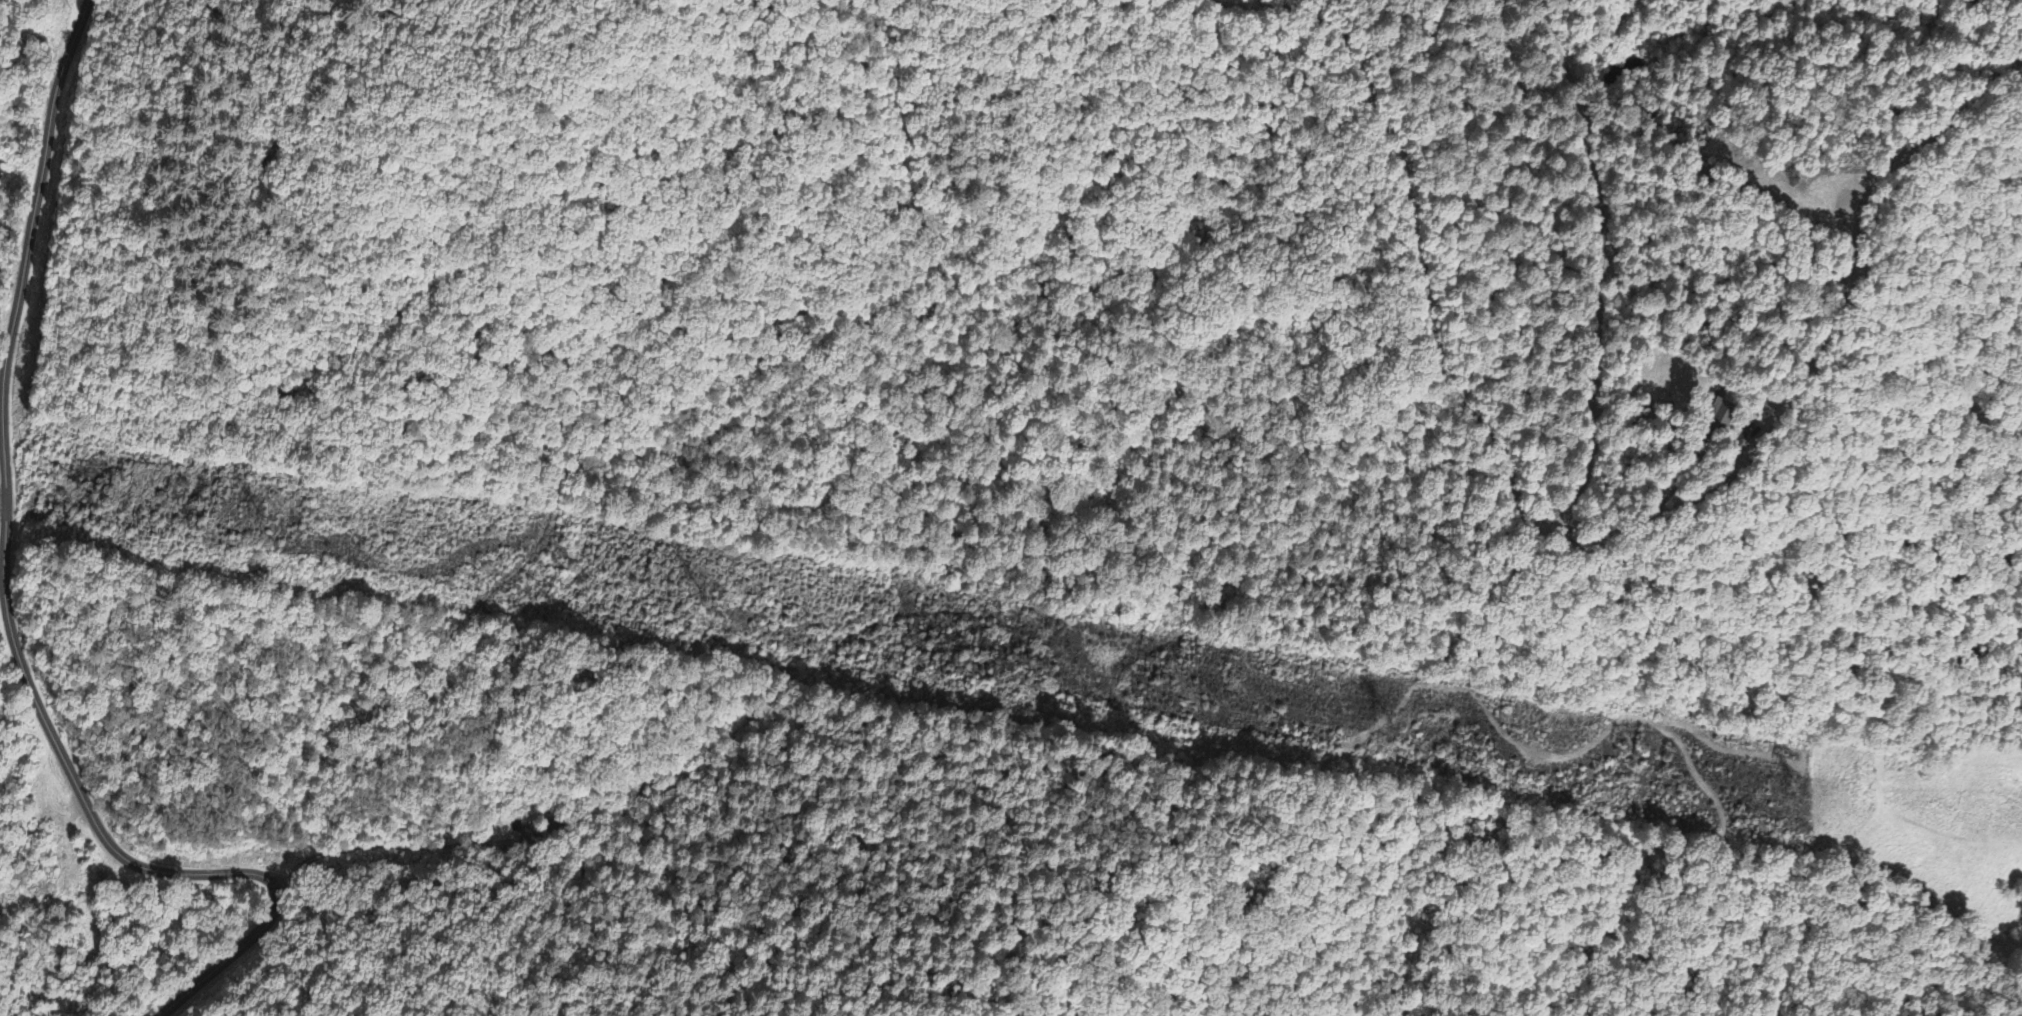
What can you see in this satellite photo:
building: (1, 173)
road: (32, 198)
road: (1599, 296)
power tower: (223, 512)
power tower: (660, 591)
power tower: (1376, 720)
power tower: (1779, 793)
road: (117, 847)

